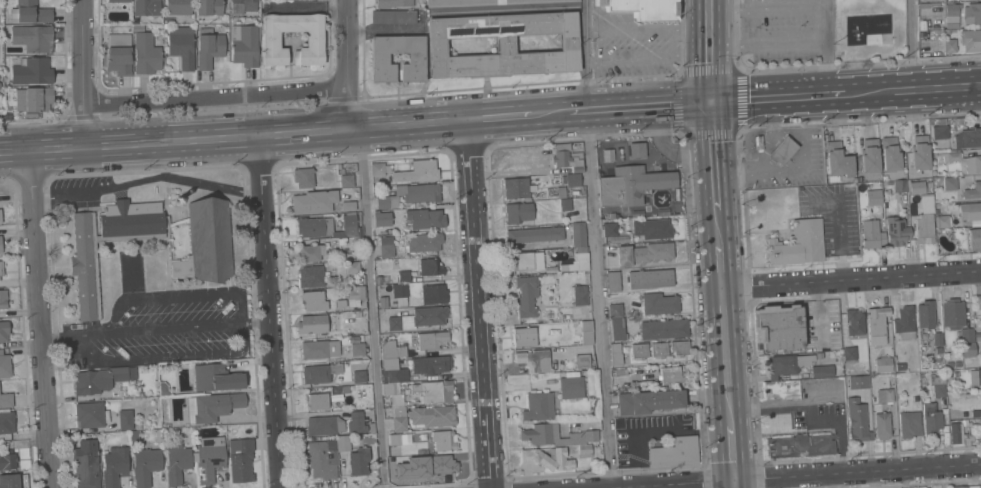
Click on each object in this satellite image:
building: (117, 0)
building: (922, 0)
building: (484, 2)
building: (393, 3)
building: (247, 4)
building: (178, 6)
building: (147, 7)
road: (764, 7)
building: (209, 8)
building: (644, 8)
building: (30, 12)
building: (972, 13)
building: (952, 15)
building: (393, 16)
building: (923, 24)
road: (647, 30)
building: (32, 37)
building: (314, 39)
building: (970, 40)
road: (766, 43)
building: (503, 44)
building: (244, 45)
road: (913, 45)
building: (949, 45)
building: (209, 47)
building: (182, 48)
road: (824, 50)
road: (709, 51)
building: (119, 54)
building: (146, 54)
road: (647, 55)
building: (379, 58)
road: (345, 64)
building: (32, 71)
road: (81, 73)
building: (0, 77)
road: (913, 91)
road: (213, 96)
road: (777, 98)
building: (33, 99)
traffic signals: (710, 103)
road: (639, 106)
road: (550, 113)
road: (499, 117)
building: (941, 121)
building: (945, 128)
road: (233, 137)
building: (968, 138)
building: (636, 150)
building: (782, 150)
building: (919, 152)
building: (608, 154)
building: (889, 154)
road: (712, 156)
building: (869, 156)
building: (567, 158)
building: (836, 159)
building: (960, 160)
building: (338, 165)
road: (798, 165)
building: (377, 168)
building: (342, 170)
building: (424, 170)
road: (175, 177)
building: (304, 177)
building: (570, 179)
building: (346, 180)
building: (949, 183)
building: (928, 184)
building: (632, 185)
building: (908, 186)
building: (516, 188)
building: (560, 191)
building: (972, 191)
building: (410, 195)
building: (873, 197)
road: (60, 199)
building: (313, 201)
building: (565, 204)
building: (348, 205)
building: (969, 211)
building: (518, 212)
building: (611, 215)
building: (0, 218)
building: (423, 218)
building: (381, 219)
building: (925, 221)
building: (349, 223)
building: (314, 227)
road: (716, 227)
road: (839, 227)
building: (652, 228)
building: (609, 229)
building: (896, 231)
building: (535, 234)
building: (578, 234)
building: (871, 234)
building: (974, 239)
building: (341, 240)
building: (206, 242)
building: (424, 242)
building: (0, 244)
road: (594, 244)
building: (798, 244)
building: (386, 246)
building: (310, 252)
building: (643, 253)
building: (579, 260)
building: (524, 261)
building: (83, 265)
road: (719, 265)
building: (352, 267)
building: (430, 267)
building: (1, 268)
building: (310, 276)
building: (403, 276)
building: (650, 278)
building: (378, 279)
road: (850, 279)
building: (613, 281)
building: (355, 292)
building: (400, 293)
building: (433, 294)
building: (526, 295)
building: (579, 296)
building: (2, 298)
building: (312, 301)
building: (383, 302)
road: (480, 303)
building: (659, 303)
building: (977, 305)
road: (372, 308)
road: (272, 311)
building: (614, 311)
road: (818, 313)
building: (952, 313)
building: (925, 314)
road: (42, 318)
building: (418, 318)
road: (260, 322)
building: (854, 322)
building: (904, 322)
building: (312, 324)
building: (876, 324)
building: (663, 328)
building: (778, 328)
road: (167, 329)
building: (617, 330)
building: (4, 331)
building: (586, 332)
building: (966, 335)
road: (65, 336)
building: (524, 336)
building: (978, 336)
building: (938, 338)
building: (431, 339)
building: (357, 348)
building: (679, 348)
building: (319, 349)
building: (392, 349)
building: (658, 349)
building: (968, 350)
building: (639, 351)
building: (849, 353)
building: (615, 355)
road: (725, 356)
building: (819, 356)
building: (980, 358)
building: (533, 360)
building: (582, 361)
building: (957, 363)
building: (430, 364)
building: (883, 364)
building: (949, 364)
building: (4, 365)
building: (786, 365)
building: (568, 366)
building: (899, 366)
building: (821, 371)
building: (620, 372)
building: (319, 373)
building: (955, 374)
building: (395, 375)
building: (670, 375)
building: (359, 376)
building: (216, 377)
building: (975, 377)
building: (101, 379)
building: (858, 382)
building: (938, 386)
building: (571, 387)
building: (163, 389)
building: (339, 390)
building: (782, 390)
building: (436, 391)
building: (394, 394)
building: (884, 395)
building: (6, 400)
building: (316, 401)
building: (649, 401)
building: (212, 406)
building: (538, 406)
building: (388, 411)
building: (975, 413)
building: (90, 414)
building: (432, 415)
road: (810, 415)
building: (399, 418)
building: (931, 418)
building: (125, 419)
building: (857, 421)
building: (6, 422)
building: (356, 422)
building: (909, 424)
building: (320, 425)
building: (882, 425)
building: (979, 425)
building: (371, 428)
building: (957, 432)
road: (670, 433)
building: (134, 436)
building: (555, 436)
building: (971, 437)
building: (393, 439)
building: (444, 440)
building: (342, 443)
building: (800, 443)
building: (584, 451)
building: (675, 452)
road: (732, 453)
building: (209, 457)
building: (322, 458)
building: (548, 458)
building: (240, 459)
building: (7, 460)
building: (358, 461)
building: (176, 462)
building: (86, 464)
building: (435, 464)
building: (114, 465)
building: (145, 465)
building: (399, 467)
road: (857, 471)
road: (644, 476)
building: (9, 480)
road: (735, 484)
road: (672, 485)
building: (959, 486)
building: (970, 486)
building: (977, 486)

